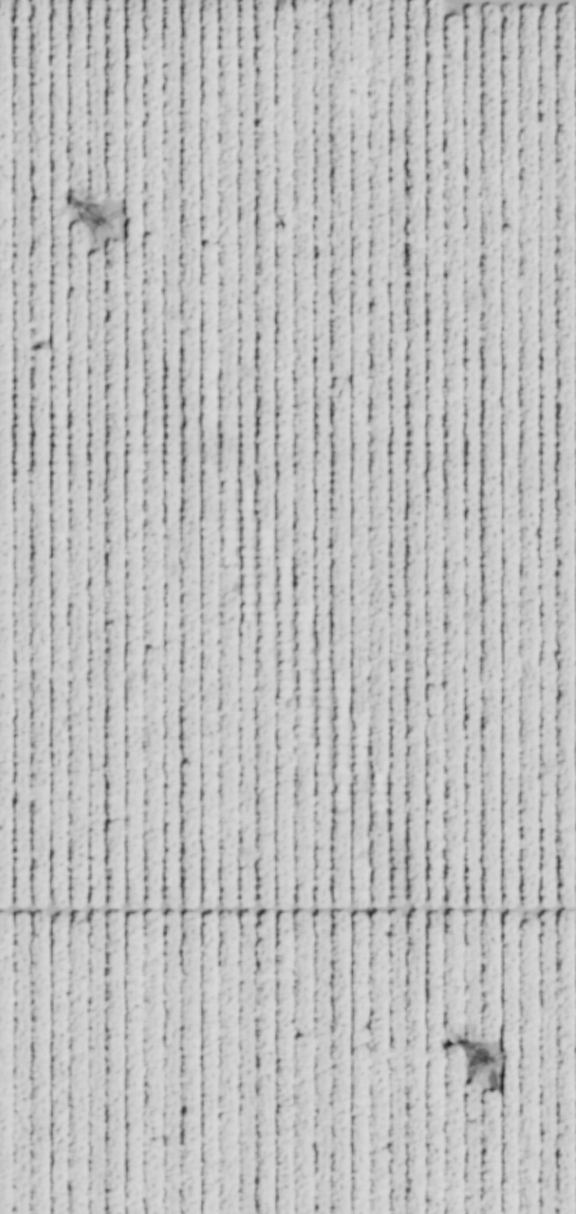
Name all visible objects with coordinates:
power tower: (98, 228)
road: (287, 908)
power tower: (481, 1065)

